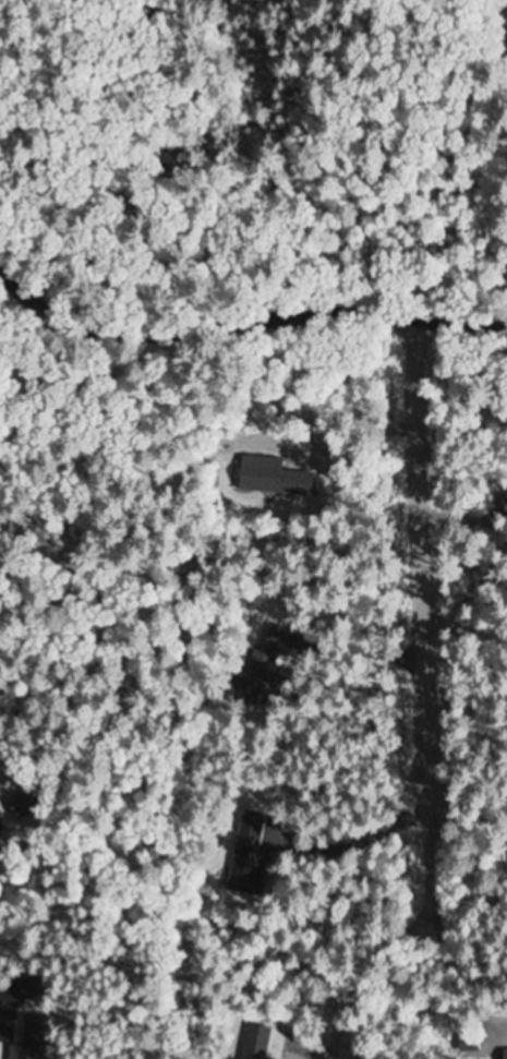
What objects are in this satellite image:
road: (241, 318)
road: (418, 564)
building: (277, 663)

